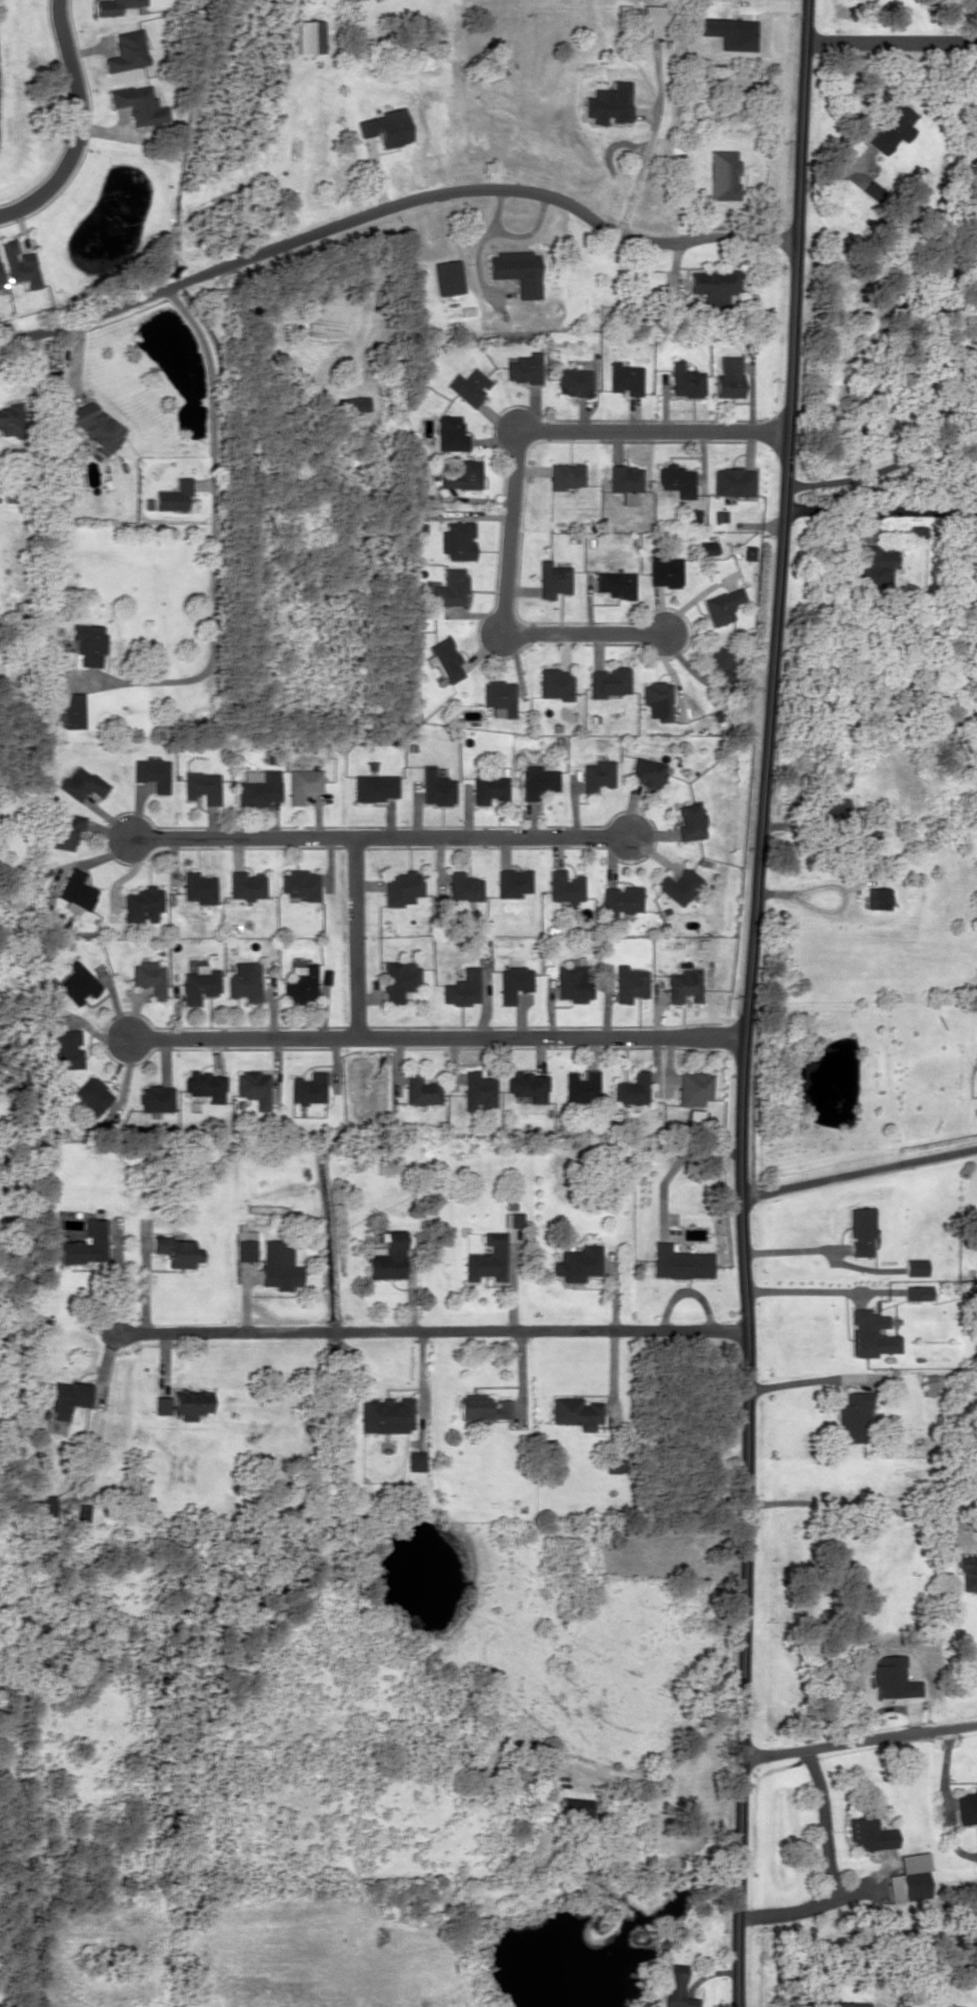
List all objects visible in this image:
building: (113, 6)
building: (652, 18)
road: (889, 43)
building: (126, 51)
building: (138, 104)
road: (78, 125)
building: (384, 127)
building: (891, 127)
building: (976, 138)
road: (394, 205)
building: (18, 264)
building: (516, 271)
building: (447, 276)
building: (651, 277)
building: (1, 280)
building: (714, 284)
building: (524, 368)
building: (727, 377)
building: (625, 378)
building: (685, 380)
building: (573, 381)
building: (468, 386)
building: (357, 403)
building: (11, 419)
building: (94, 426)
building: (450, 433)
building: (460, 475)
building: (564, 475)
road: (511, 477)
building: (674, 480)
building: (732, 481)
building: (623, 482)
building: (173, 495)
building: (691, 516)
building: (456, 540)
building: (707, 547)
building: (875, 568)
building: (664, 572)
building: (552, 579)
building: (615, 584)
building: (449, 587)
building: (722, 605)
building: (88, 643)
building: (444, 660)
building: (718, 661)
building: (609, 681)
building: (555, 683)
building: (499, 697)
building: (658, 698)
building: (70, 710)
building: (648, 771)
building: (153, 773)
building: (597, 775)
building: (537, 781)
building: (83, 784)
building: (301, 784)
building: (373, 786)
building: (203, 787)
building: (258, 787)
building: (434, 787)
building: (488, 788)
building: (691, 821)
building: (67, 830)
road: (381, 837)
building: (512, 882)
building: (299, 884)
building: (245, 885)
building: (680, 885)
building: (565, 886)
building: (198, 887)
building: (400, 887)
building: (463, 887)
building: (77, 891)
building: (877, 897)
building: (622, 899)
building: (141, 902)
building: (53, 920)
road: (356, 938)
building: (149, 977)
building: (243, 981)
building: (77, 983)
building: (199, 983)
building: (298, 983)
building: (513, 983)
building: (573, 983)
building: (629, 983)
building: (683, 985)
building: (461, 988)
road: (745, 1002)
road: (434, 1038)
building: (65, 1048)
building: (204, 1085)
building: (527, 1085)
building: (252, 1087)
building: (307, 1087)
building: (581, 1087)
building: (693, 1087)
building: (419, 1089)
building: (477, 1090)
building: (631, 1090)
building: (91, 1096)
building: (155, 1098)
building: (387, 1165)
road: (856, 1172)
building: (512, 1219)
building: (860, 1230)
building: (85, 1244)
building: (245, 1245)
building: (175, 1251)
building: (387, 1256)
building: (487, 1258)
building: (680, 1262)
building: (578, 1263)
building: (279, 1264)
building: (915, 1267)
building: (917, 1292)
road: (429, 1329)
building: (870, 1334)
building: (929, 1384)
building: (68, 1398)
building: (191, 1402)
building: (162, 1405)
building: (482, 1406)
building: (575, 1412)
building: (386, 1414)
building: (853, 1417)
building: (416, 1460)
building: (615, 1465)
building: (43, 1509)
building: (968, 1573)
building: (894, 1676)
road: (859, 1738)
building: (576, 1806)
building: (966, 1807)
building: (868, 1830)
building: (910, 1878)
building: (674, 1986)
building: (847, 2004)

